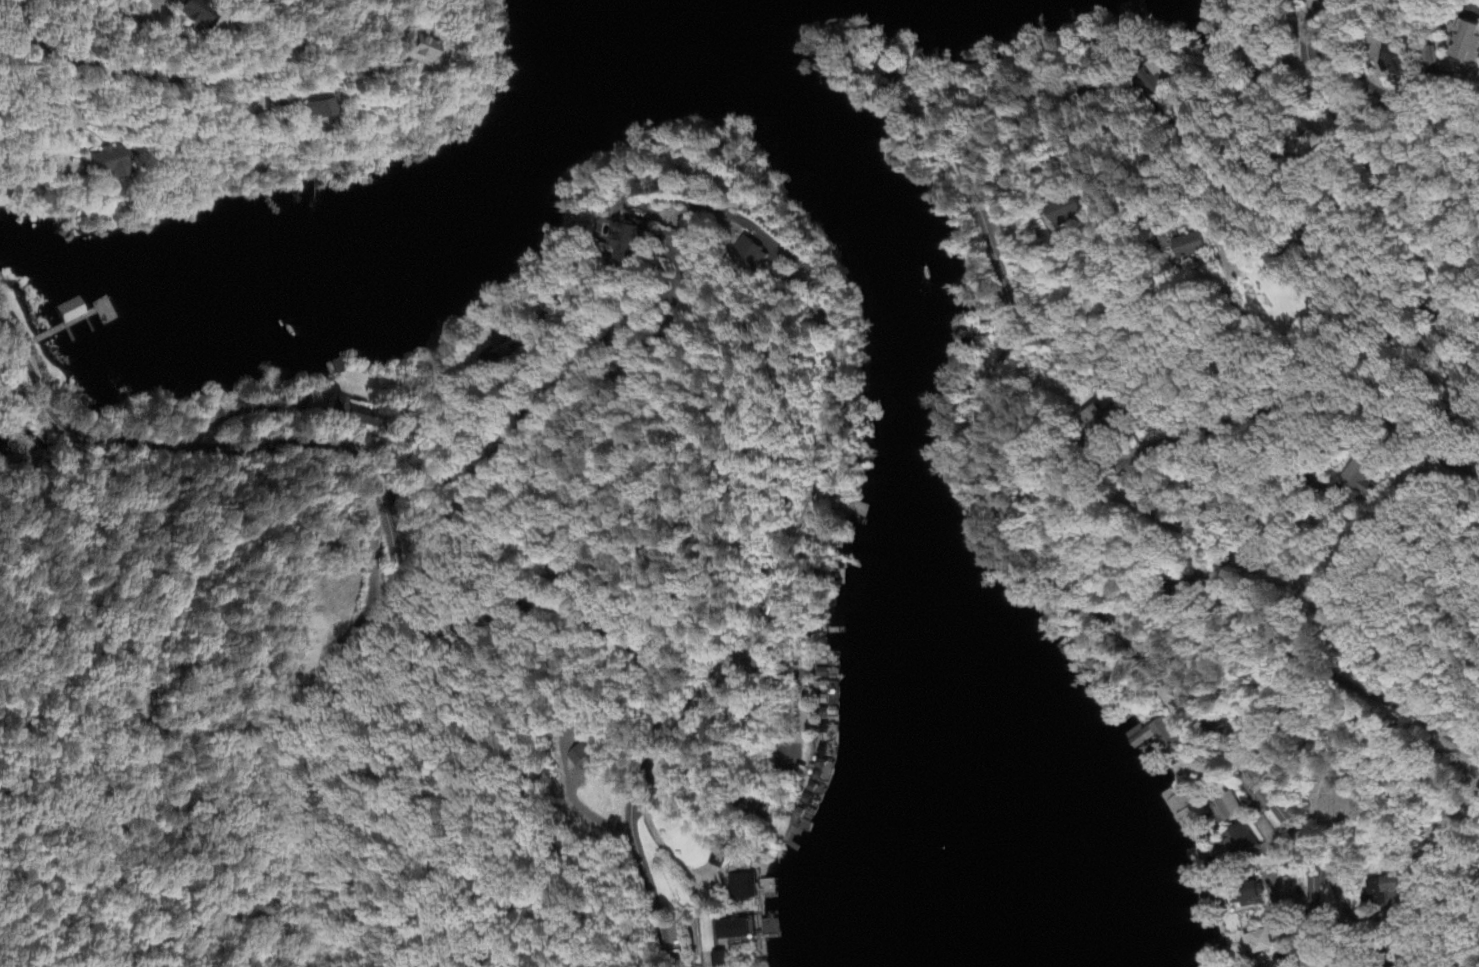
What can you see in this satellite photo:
road: (139, 16)
building: (198, 16)
building: (1468, 46)
building: (420, 50)
building: (1395, 62)
road: (1350, 70)
road: (172, 76)
building: (885, 77)
building: (1158, 78)
road: (31, 95)
building: (319, 110)
road: (958, 154)
building: (114, 164)
building: (1071, 212)
building: (1, 217)
building: (634, 240)
building: (1193, 247)
building: (752, 253)
road: (1046, 286)
road: (571, 287)
building: (96, 312)
road: (1251, 331)
building: (356, 414)
road: (590, 415)
road: (1261, 416)
road: (517, 418)
building: (1102, 421)
road: (822, 426)
road: (1293, 456)
building: (1357, 477)
road: (374, 597)
road: (416, 607)
road: (1319, 668)
road: (1180, 724)
building: (1150, 735)
road: (779, 738)
building: (584, 756)
building: (1224, 811)
building: (1237, 844)
building: (719, 860)
building: (739, 888)
building: (1380, 891)
building: (1245, 897)
building: (763, 928)
building: (730, 930)
building: (1255, 942)
building: (718, 960)

